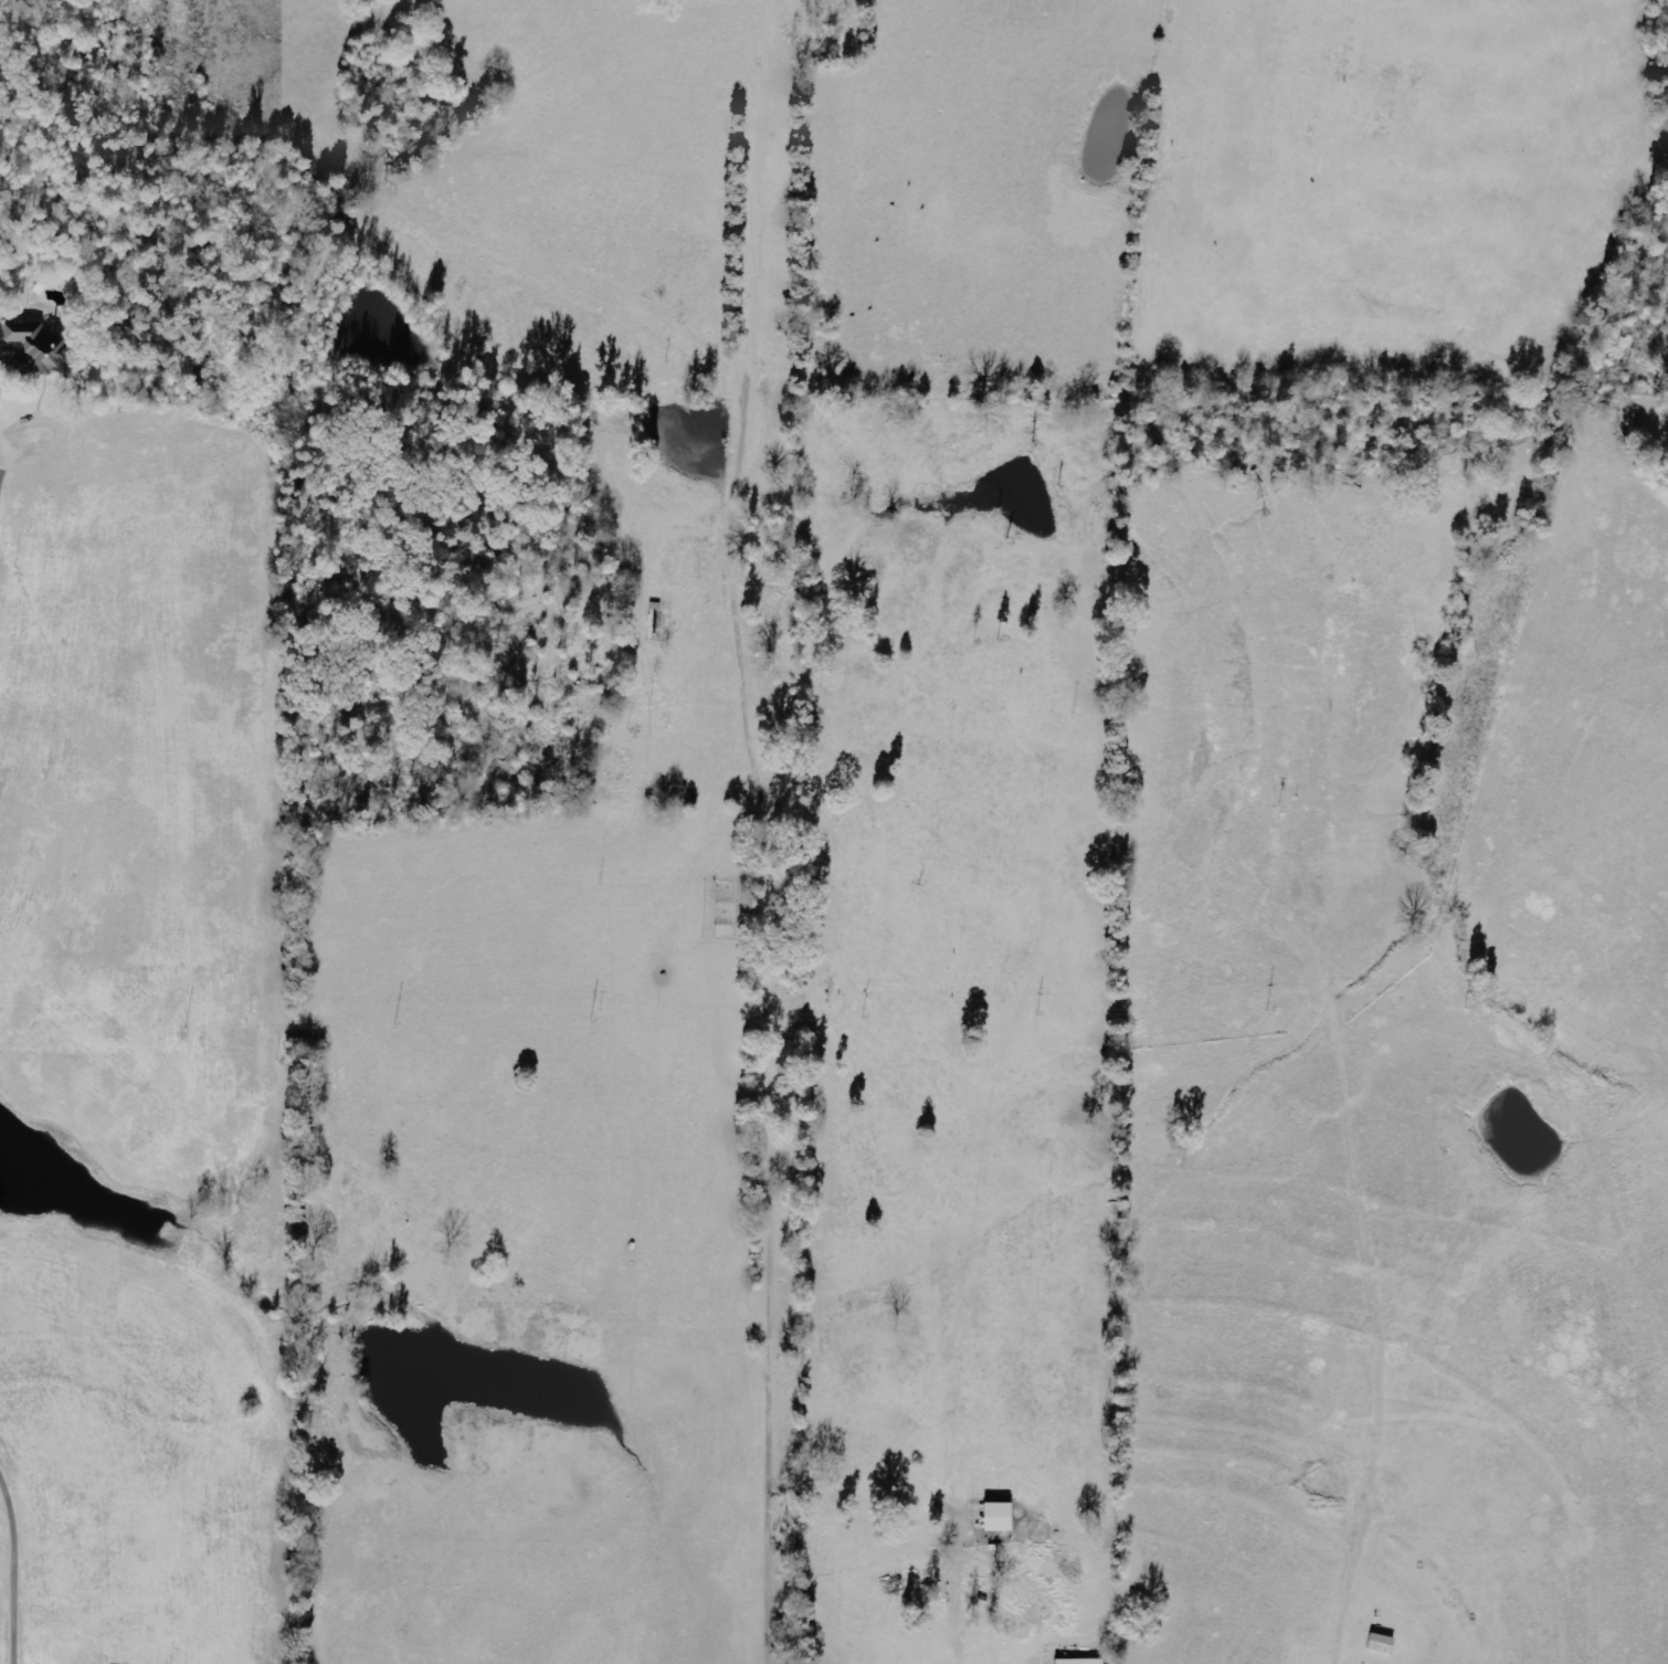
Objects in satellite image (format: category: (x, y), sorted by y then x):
building: (32, 346)
road: (775, 830)
building: (1000, 1516)
building: (1382, 1644)
building: (1080, 1661)

